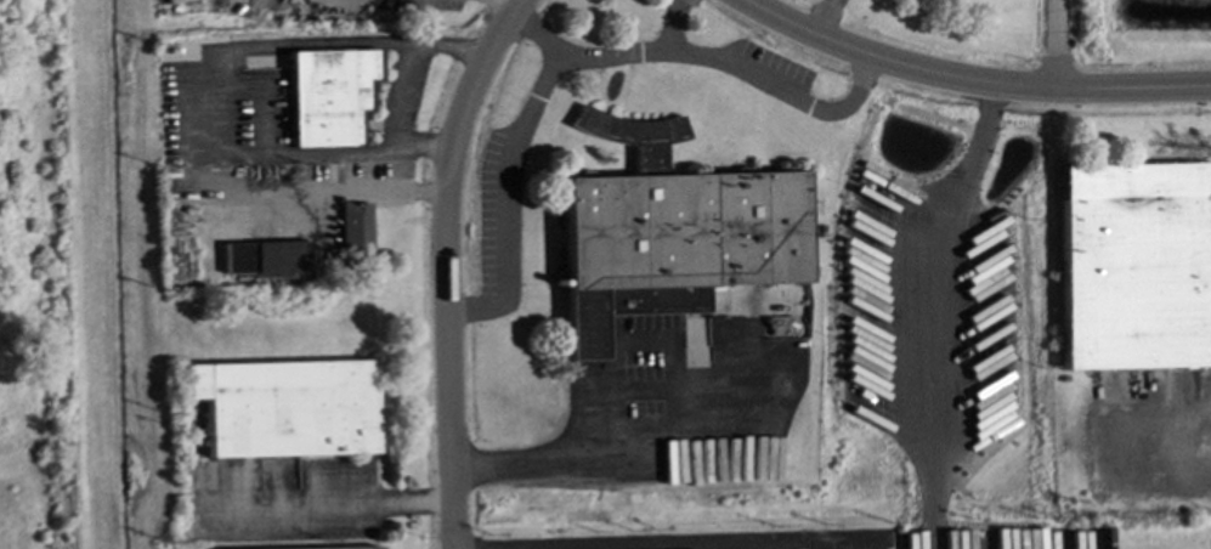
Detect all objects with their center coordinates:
road: (507, 5)
road: (672, 27)
road: (537, 32)
road: (1057, 45)
road: (583, 52)
road: (968, 81)
road: (401, 84)
building: (329, 94)
road: (400, 191)
building: (355, 230)
building: (668, 232)
building: (264, 257)
building: (1134, 265)
road: (448, 266)
building: (284, 406)
road: (558, 459)
building: (335, 548)
road: (782, 548)

